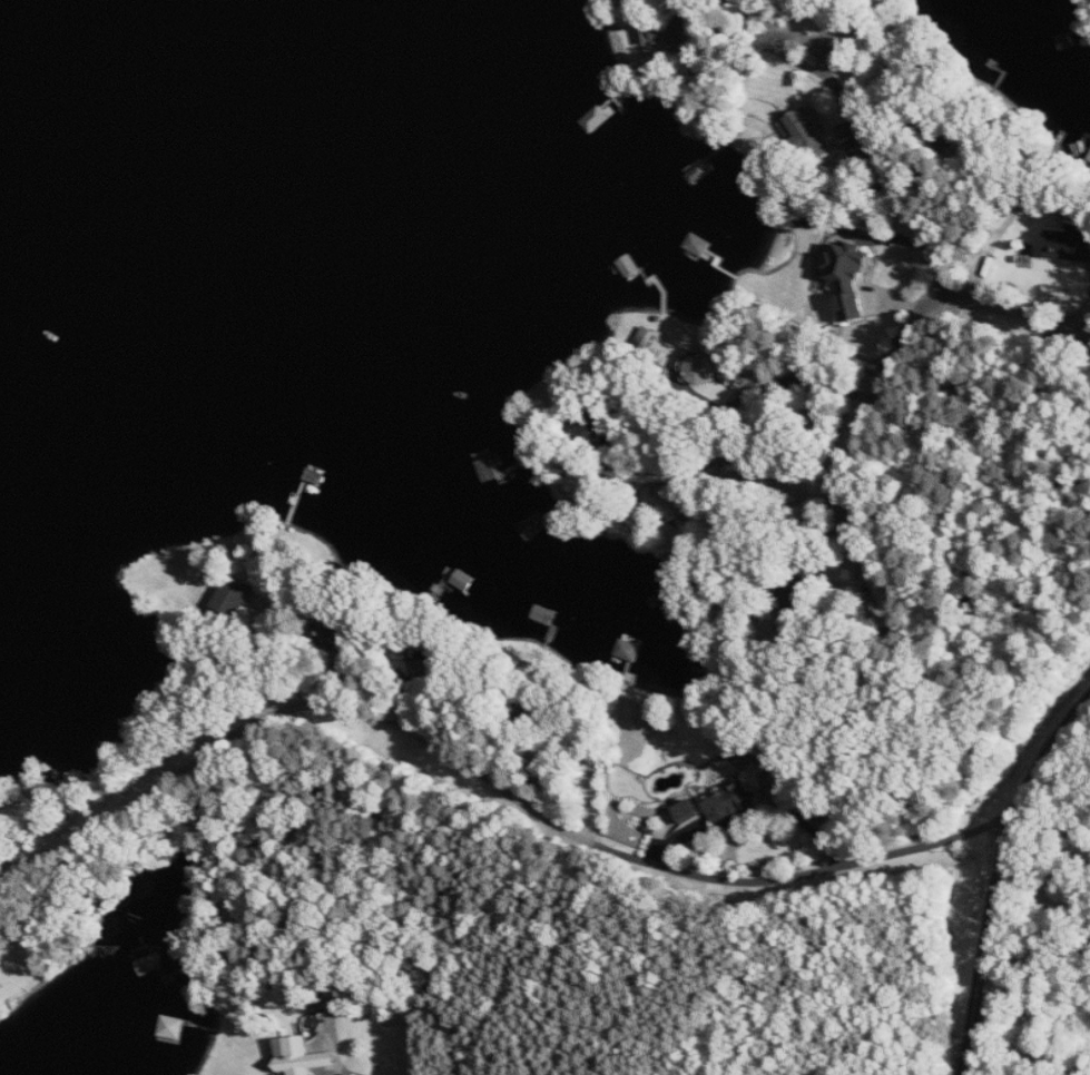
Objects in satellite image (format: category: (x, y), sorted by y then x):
building: (681, 26)
building: (808, 134)
road: (881, 160)
building: (1068, 243)
building: (851, 280)
building: (708, 368)
road: (886, 376)
road: (770, 382)
road: (606, 437)
road: (845, 580)
building: (235, 596)
building: (334, 634)
building: (629, 650)
building: (426, 671)
building: (731, 802)
road: (753, 809)
building: (689, 811)
road: (585, 839)
road: (1001, 879)
road: (385, 1024)
building: (303, 1057)

